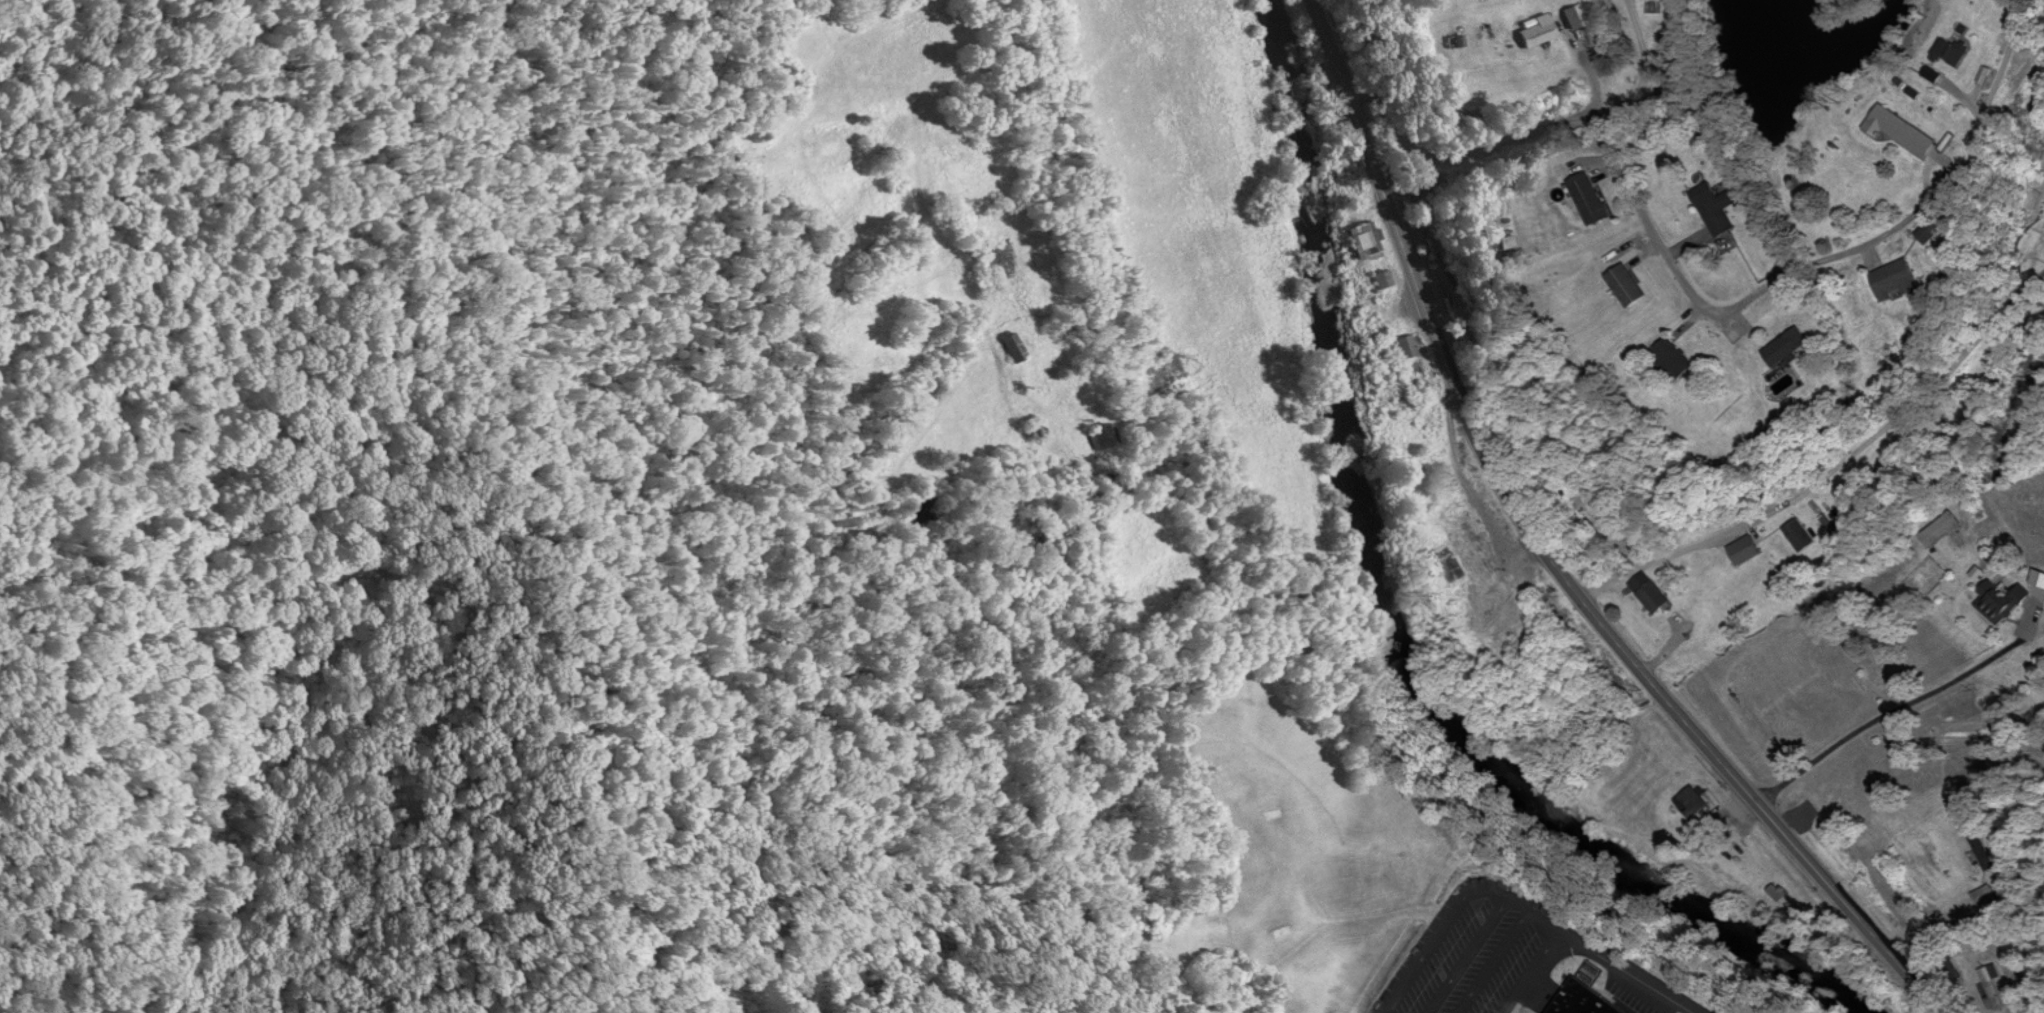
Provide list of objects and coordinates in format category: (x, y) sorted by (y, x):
building: (1538, 33)
building: (1904, 132)
building: (1593, 200)
building: (1721, 208)
building: (1425, 219)
road: (1650, 224)
building: (1366, 242)
building: (1382, 280)
building: (1900, 281)
building: (1630, 287)
building: (1406, 347)
building: (1016, 348)
building: (1790, 348)
building: (1678, 359)
building: (1038, 429)
road: (1818, 429)
building: (1104, 438)
road: (1918, 465)
building: (1944, 530)
building: (1802, 537)
road: (1898, 541)
road: (1552, 550)
building: (1747, 552)
building: (1653, 594)
building: (2005, 603)
river: (1403, 612)
road: (1888, 696)
building: (1697, 806)
building: (1757, 865)
building: (1781, 895)
building: (1994, 988)
building: (1582, 1001)

